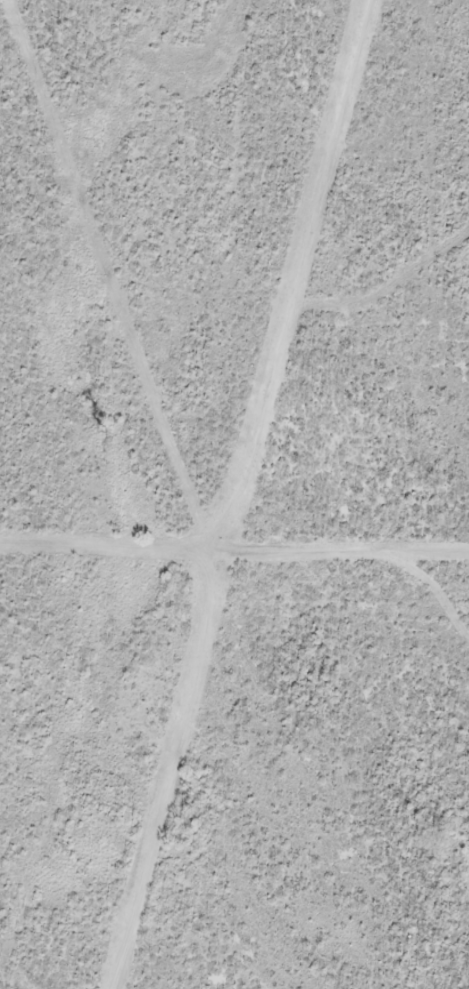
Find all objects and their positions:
road: (234, 560)

